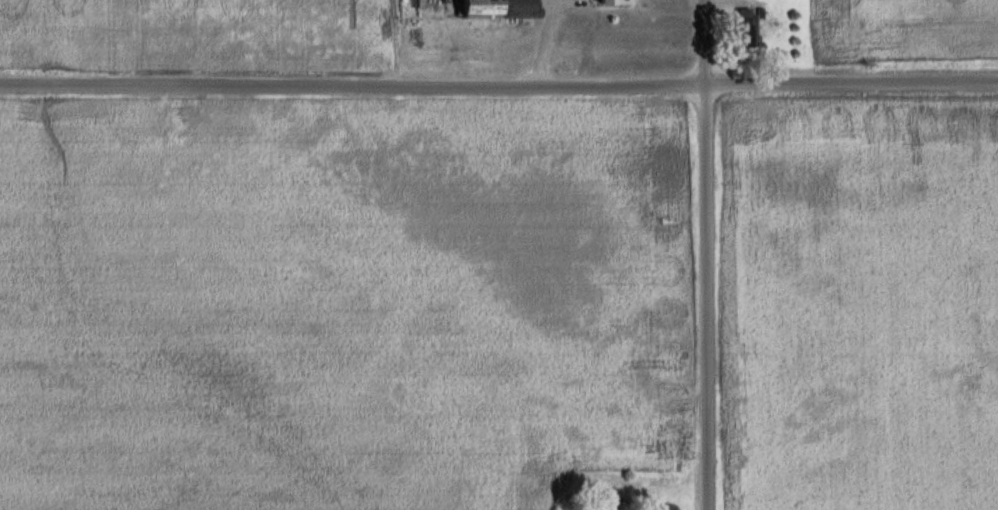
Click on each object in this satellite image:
building: (617, 2)
building: (499, 9)
building: (427, 10)
building: (748, 29)
road: (499, 84)
road: (706, 254)

